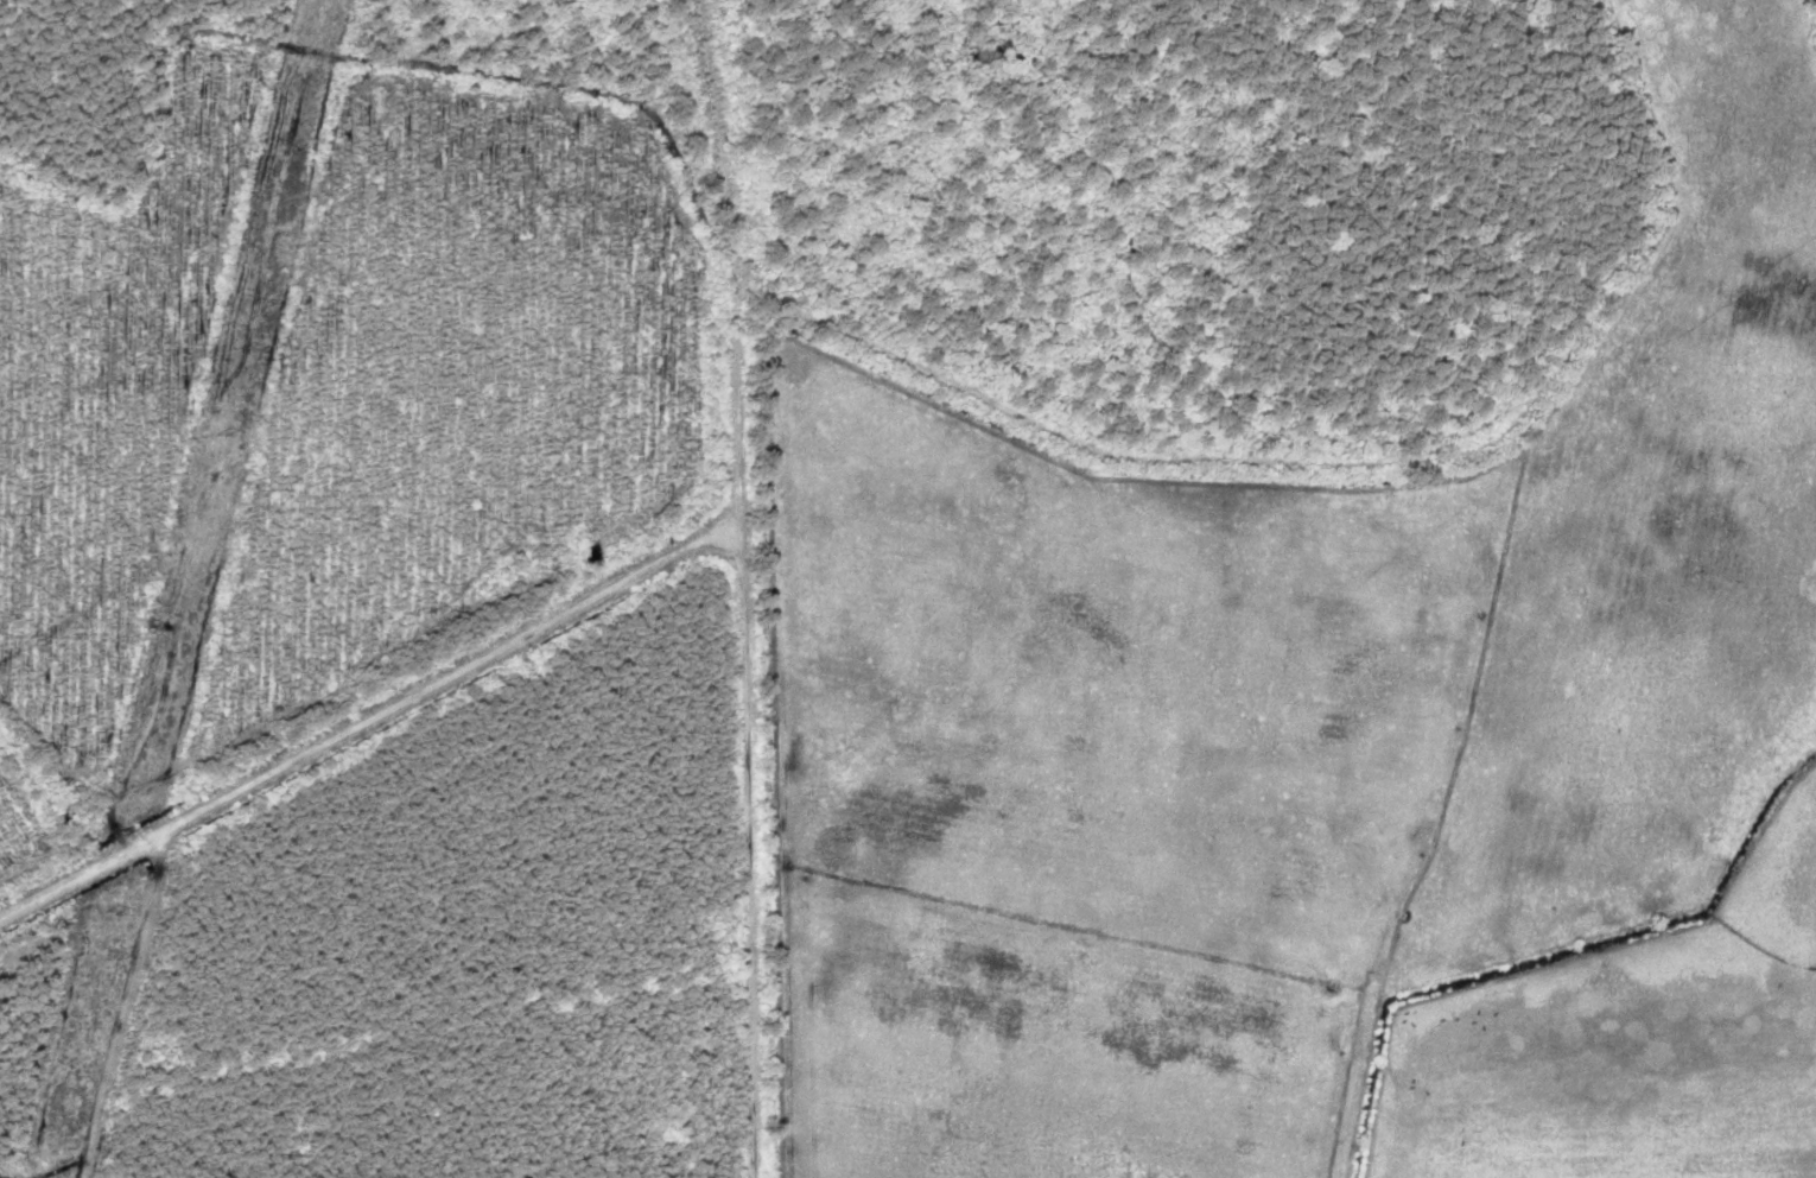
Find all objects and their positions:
power tower: (222, 431)
road: (643, 568)
power tower: (115, 912)

